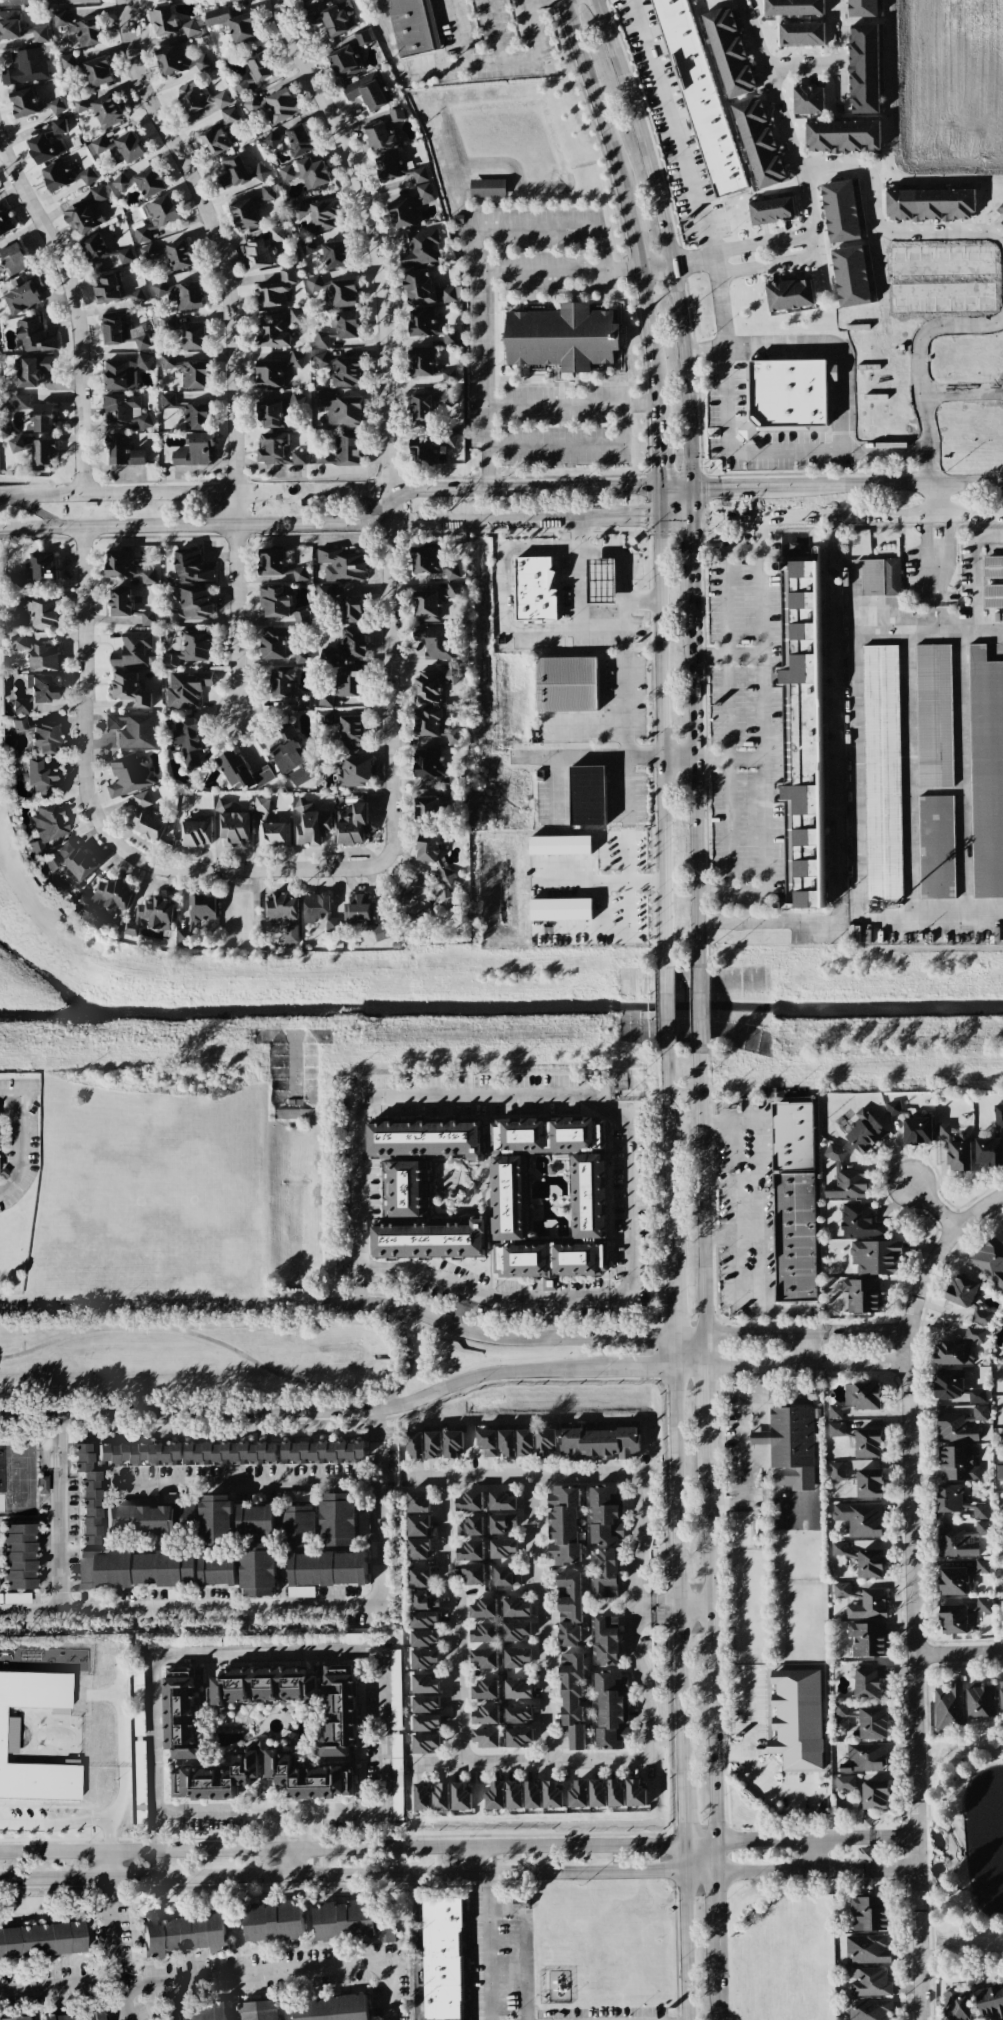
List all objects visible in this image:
building: (163, 0)
building: (236, 0)
building: (72, 1)
road: (528, 1)
building: (18, 2)
building: (793, 7)
building: (862, 8)
building: (334, 18)
building: (8, 19)
building: (169, 23)
building: (234, 24)
building: (414, 26)
building: (81, 28)
road: (496, 30)
building: (801, 34)
building: (729, 52)
building: (349, 57)
building: (179, 60)
road: (500, 61)
building: (67, 62)
building: (26, 66)
road: (801, 67)
building: (864, 68)
building: (98, 71)
building: (253, 75)
building: (368, 92)
building: (701, 96)
building: (200, 98)
road: (592, 100)
building: (808, 100)
building: (24, 102)
building: (80, 104)
building: (252, 104)
building: (56, 106)
building: (281, 106)
building: (107, 110)
building: (396, 114)
road: (781, 114)
building: (59, 126)
road: (672, 129)
building: (219, 133)
building: (843, 136)
building: (379, 137)
building: (271, 140)
building: (299, 140)
building: (759, 143)
building: (96, 145)
building: (127, 147)
building: (44, 148)
building: (397, 168)
building: (233, 171)
building: (260, 172)
building: (306, 173)
building: (65, 176)
building: (120, 182)
building: (150, 182)
building: (487, 188)
building: (267, 192)
building: (97, 193)
building: (930, 204)
building: (410, 207)
building: (299, 210)
building: (772, 210)
building: (841, 211)
building: (244, 215)
building: (323, 215)
building: (158, 216)
building: (82, 218)
building: (5, 220)
road: (536, 222)
road: (880, 223)
building: (276, 234)
road: (374, 235)
road: (632, 235)
road: (667, 238)
road: (1002, 239)
road: (761, 240)
building: (421, 248)
building: (329, 252)
building: (101, 253)
building: (170, 254)
building: (259, 254)
building: (13, 259)
road: (816, 260)
road: (676, 264)
road: (763, 266)
building: (851, 276)
building: (419, 287)
building: (276, 289)
building: (106, 290)
building: (335, 291)
building: (24, 293)
building: (180, 294)
building: (448, 294)
building: (789, 295)
building: (137, 297)
road: (75, 304)
road: (648, 323)
building: (346, 325)
building: (429, 326)
building: (280, 329)
building: (122, 332)
building: (35, 335)
building: (193, 336)
building: (562, 337)
building: (321, 339)
road: (484, 344)
road: (233, 346)
road: (835, 348)
building: (296, 360)
building: (421, 362)
building: (341, 369)
building: (32, 370)
building: (187, 371)
building: (124, 372)
building: (269, 373)
road: (922, 382)
road: (656, 389)
road: (963, 391)
building: (786, 394)
building: (22, 401)
building: (340, 409)
building: (421, 409)
building: (125, 411)
building: (189, 412)
building: (273, 414)
building: (43, 418)
building: (16, 444)
road: (657, 444)
road: (573, 445)
road: (487, 447)
building: (272, 448)
building: (348, 449)
building: (422, 449)
building: (118, 450)
building: (195, 450)
road: (732, 452)
building: (43, 454)
building: (322, 456)
building: (138, 457)
building: (298, 457)
road: (26, 479)
road: (886, 484)
road: (40, 485)
traffic signals: (657, 486)
road: (674, 486)
road: (730, 486)
road: (522, 487)
traffic signals: (691, 487)
road: (235, 491)
road: (40, 494)
road: (657, 502)
road: (691, 502)
road: (830, 516)
traffic signals: (691, 517)
road: (625, 518)
traffic signals: (657, 518)
road: (338, 522)
road: (40, 526)
road: (691, 550)
building: (425, 559)
road: (937, 559)
building: (343, 564)
building: (277, 565)
building: (126, 566)
building: (993, 567)
building: (189, 568)
building: (34, 570)
building: (452, 572)
road: (975, 573)
building: (881, 579)
building: (601, 581)
road: (504, 589)
building: (535, 589)
building: (453, 591)
building: (993, 596)
building: (275, 602)
building: (192, 605)
building: (128, 606)
building: (426, 606)
building: (351, 609)
building: (39, 611)
road: (940, 616)
road: (576, 630)
building: (434, 641)
building: (18, 642)
building: (353, 642)
road: (392, 642)
building: (279, 646)
building: (189, 647)
building: (133, 650)
building: (43, 657)
building: (567, 683)
building: (432, 684)
building: (344, 685)
building: (42, 688)
building: (128, 688)
building: (287, 688)
building: (186, 689)
road: (857, 699)
building: (21, 706)
road: (627, 709)
road: (836, 713)
building: (934, 715)
building: (326, 717)
road: (729, 717)
road: (765, 717)
building: (429, 721)
building: (19, 723)
road: (658, 728)
building: (133, 729)
building: (351, 732)
building: (802, 732)
building: (45, 738)
building: (188, 741)
building: (291, 758)
road: (563, 758)
road: (695, 760)
road: (712, 760)
building: (428, 762)
road: (963, 769)
road: (909, 770)
building: (242, 772)
building: (355, 772)
building: (882, 772)
building: (986, 772)
building: (129, 775)
building: (40, 776)
building: (455, 778)
road: (627, 788)
road: (936, 789)
building: (588, 795)
building: (427, 807)
building: (145, 818)
building: (232, 823)
building: (310, 823)
building: (351, 824)
building: (46, 825)
building: (196, 831)
building: (560, 845)
building: (428, 847)
building: (936, 847)
road: (126, 848)
building: (69, 861)
building: (446, 876)
building: (108, 895)
building: (421, 899)
building: (360, 908)
building: (561, 909)
building: (318, 910)
building: (200, 912)
building: (286, 913)
road: (931, 913)
building: (151, 915)
road: (769, 921)
building: (382, 931)
building: (182, 934)
road: (696, 992)
road: (663, 993)
river: (501, 1010)
building: (998, 1115)
building: (917, 1130)
building: (865, 1132)
building: (547, 1136)
road: (18, 1140)
building: (424, 1140)
road: (358, 1148)
building: (956, 1148)
road: (668, 1150)
building: (989, 1151)
building: (844, 1177)
building: (404, 1189)
road: (700, 1191)
road: (628, 1193)
building: (587, 1196)
building: (508, 1198)
building: (795, 1202)
road: (936, 1205)
road: (979, 1209)
building: (860, 1220)
road: (718, 1237)
building: (430, 1241)
building: (875, 1256)
building: (990, 1260)
building: (549, 1261)
road: (759, 1280)
road: (361, 1287)
road: (673, 1294)
building: (862, 1296)
road: (579, 1297)
building: (967, 1299)
road: (339, 1304)
road: (550, 1304)
road: (461, 1308)
road: (81, 1332)
road: (857, 1332)
road: (754, 1334)
road: (690, 1336)
building: (958, 1348)
road: (804, 1350)
road: (705, 1351)
road: (675, 1353)
road: (408, 1359)
road: (397, 1361)
road: (858, 1366)
road: (754, 1367)
road: (690, 1368)
road: (638, 1369)
building: (956, 1386)
building: (862, 1395)
road: (303, 1412)
building: (835, 1412)
building: (980, 1413)
road: (706, 1416)
road: (379, 1424)
building: (955, 1428)
building: (836, 1429)
building: (1000, 1439)
road: (57, 1440)
building: (487, 1442)
building: (525, 1442)
building: (546, 1442)
road: (739, 1442)
building: (453, 1443)
building: (507, 1443)
building: (600, 1443)
building: (868, 1443)
building: (414, 1445)
building: (433, 1445)
building: (790, 1445)
building: (322, 1451)
building: (230, 1452)
building: (139, 1453)
road: (381, 1462)
building: (957, 1463)
building: (836, 1472)
building: (999, 1472)
road: (519, 1474)
building: (43, 1484)
building: (870, 1484)
road: (248, 1487)
building: (88, 1494)
building: (949, 1498)
building: (418, 1501)
building: (470, 1501)
building: (501, 1501)
building: (979, 1511)
building: (606, 1515)
building: (148, 1518)
building: (215, 1518)
building: (256, 1519)
building: (338, 1519)
building: (860, 1519)
building: (502, 1523)
building: (363, 1524)
building: (418, 1525)
building: (563, 1525)
building: (298, 1526)
building: (471, 1526)
building: (960, 1540)
road: (58, 1541)
building: (419, 1548)
building: (503, 1548)
building: (838, 1548)
building: (471, 1551)
building: (18, 1556)
building: (870, 1563)
building: (982, 1566)
building: (136, 1569)
building: (258, 1569)
building: (217, 1570)
building: (323, 1571)
building: (605, 1573)
building: (473, 1574)
road: (679, 1575)
building: (419, 1577)
building: (506, 1577)
building: (953, 1581)
building: (17, 1598)
building: (424, 1600)
building: (862, 1601)
building: (983, 1604)
building: (516, 1607)
building: (484, 1608)
road: (680, 1608)
building: (569, 1609)
road: (642, 1610)
road: (253, 1611)
road: (633, 1615)
road: (544, 1616)
road: (913, 1617)
road: (455, 1618)
building: (423, 1619)
building: (953, 1619)
building: (517, 1631)
building: (485, 1633)
building: (424, 1638)
building: (335, 1639)
building: (868, 1639)
building: (607, 1640)
road: (710, 1647)
road: (357, 1652)
road: (958, 1652)
building: (518, 1658)
building: (424, 1659)
building: (484, 1659)
building: (868, 1681)
building: (424, 1684)
building: (263, 1685)
building: (394, 1689)
building: (518, 1689)
building: (485, 1690)
building: (1001, 1693)
building: (206, 1694)
building: (572, 1699)
building: (980, 1701)
building: (426, 1704)
building: (948, 1707)
building: (612, 1709)
building: (339, 1711)
road: (746, 1711)
building: (180, 1712)
building: (519, 1714)
building: (486, 1715)
building: (841, 1717)
building: (797, 1718)
building: (426, 1722)
building: (873, 1723)
building: (8, 1735)
building: (485, 1737)
building: (519, 1737)
building: (425, 1743)
building: (864, 1757)
road: (530, 1761)
building: (225, 1774)
road: (759, 1774)
building: (313, 1779)
building: (845, 1783)
building: (615, 1792)
building: (597, 1793)
building: (635, 1793)
building: (513, 1794)
building: (579, 1794)
building: (532, 1795)
building: (552, 1795)
building: (875, 1795)
building: (441, 1796)
building: (495, 1796)
building: (422, 1797)
building: (460, 1797)
road: (684, 1812)
road: (68, 1824)
road: (865, 1839)
road: (764, 1841)
road: (700, 1843)
road: (302, 1844)
road: (286, 1845)
road: (342, 1848)
road: (715, 1850)
road: (814, 1855)
road: (685, 1857)
road: (865, 1869)
road: (765, 1870)
road: (701, 1871)
road: (342, 1875)
road: (112, 1876)
road: (716, 1898)
building: (869, 1913)
building: (343, 1920)
building: (273, 1922)
road: (489, 1931)
building: (182, 1934)
building: (388, 1934)
building: (42, 1940)
road: (686, 1945)
road: (524, 1948)
building: (867, 1949)
road: (118, 1960)
building: (440, 1961)
road: (282, 1972)
road: (718, 1973)
building: (869, 1982)
road: (60, 1988)
building: (990, 2002)
building: (958, 2005)
building: (330, 2008)
building: (869, 2009)
building: (259, 2010)
building: (196, 2012)
building: (75, 2016)
building: (16, 2018)

